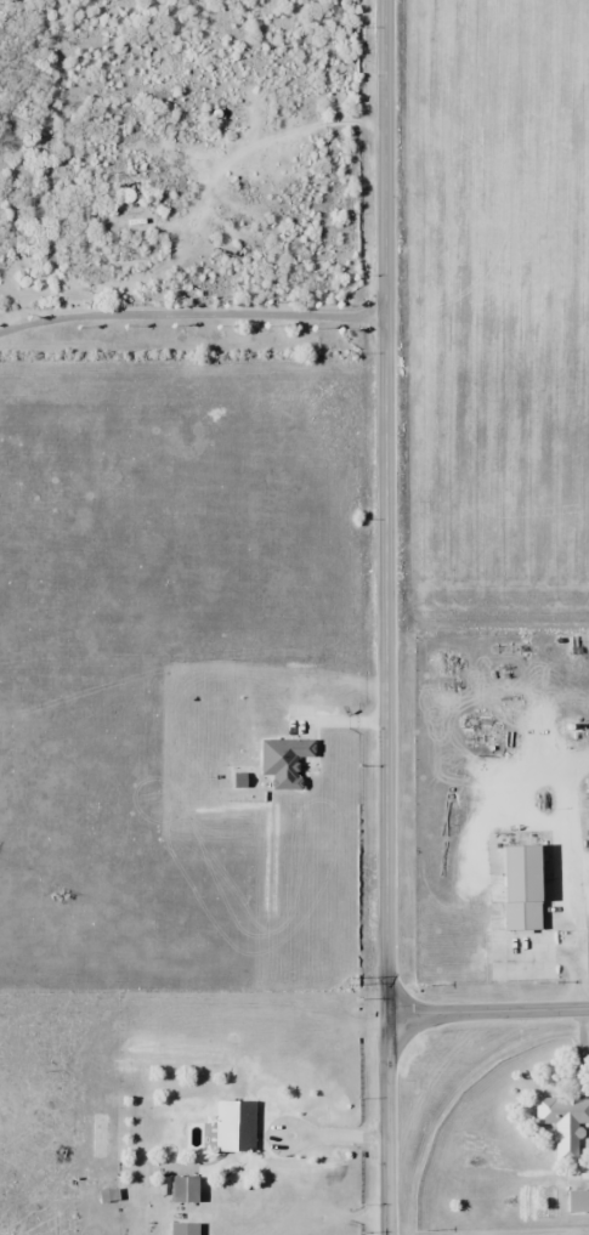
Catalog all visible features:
road: (192, 316)
road: (386, 506)
building: (287, 760)
power tower: (350, 979)
road: (487, 1012)
road: (386, 1124)
building: (565, 1124)
building: (237, 1126)
building: (187, 1189)
building: (578, 1201)
building: (186, 1228)

